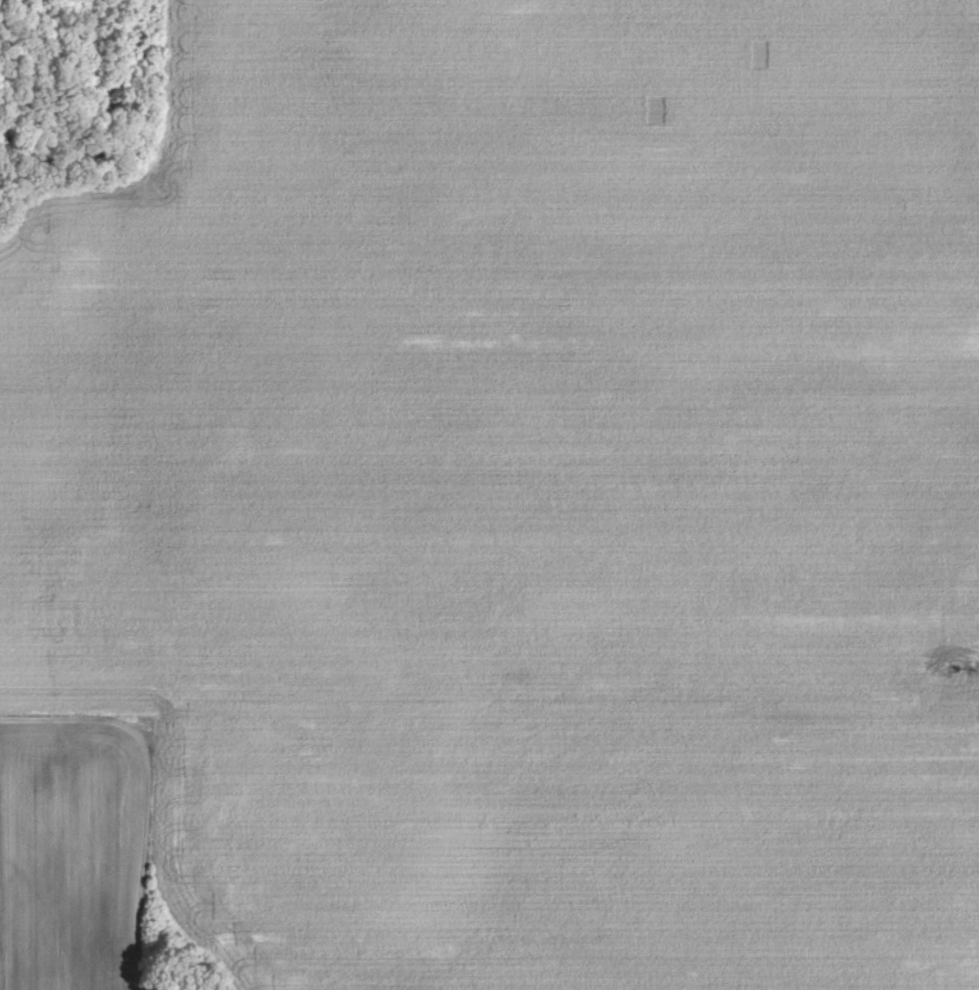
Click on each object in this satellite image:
crop: (529, 488)
crop: (85, 842)

